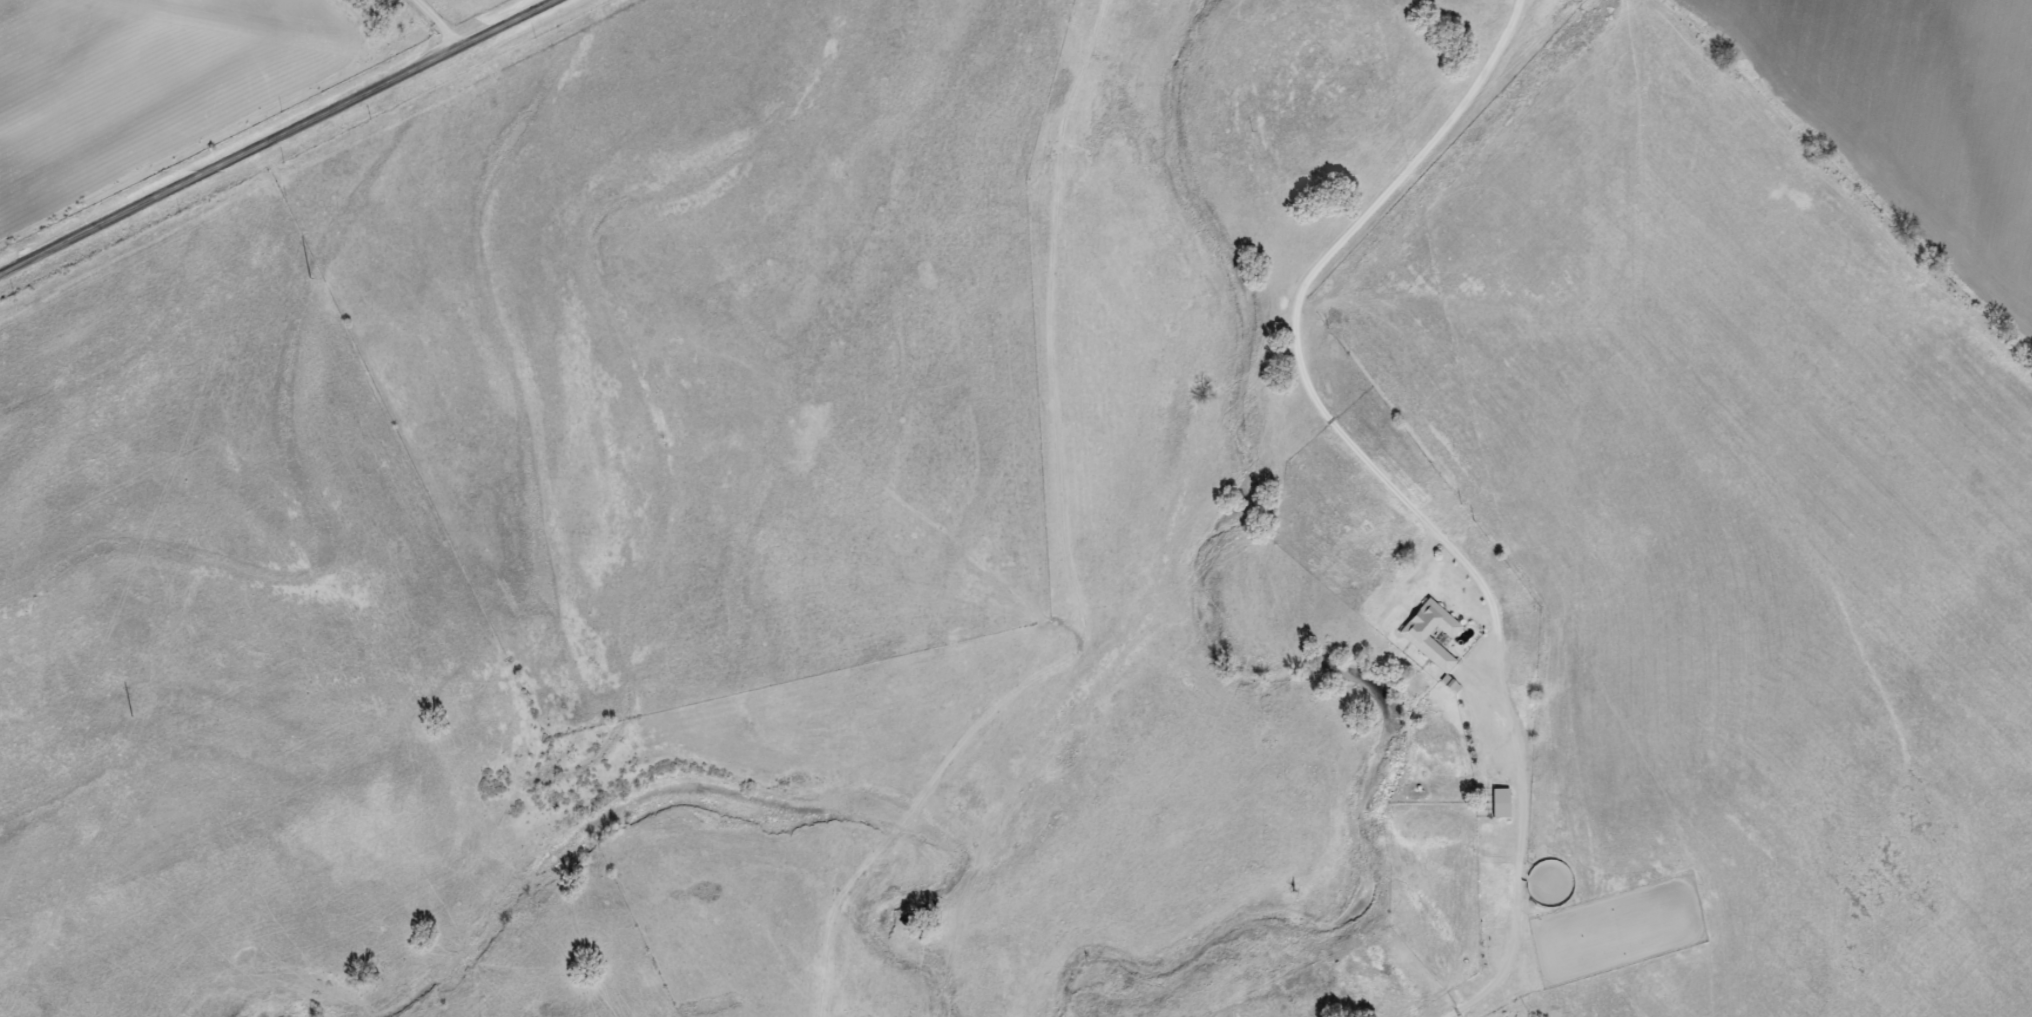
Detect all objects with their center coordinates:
road: (423, 26)
road: (277, 136)
building: (1423, 630)

